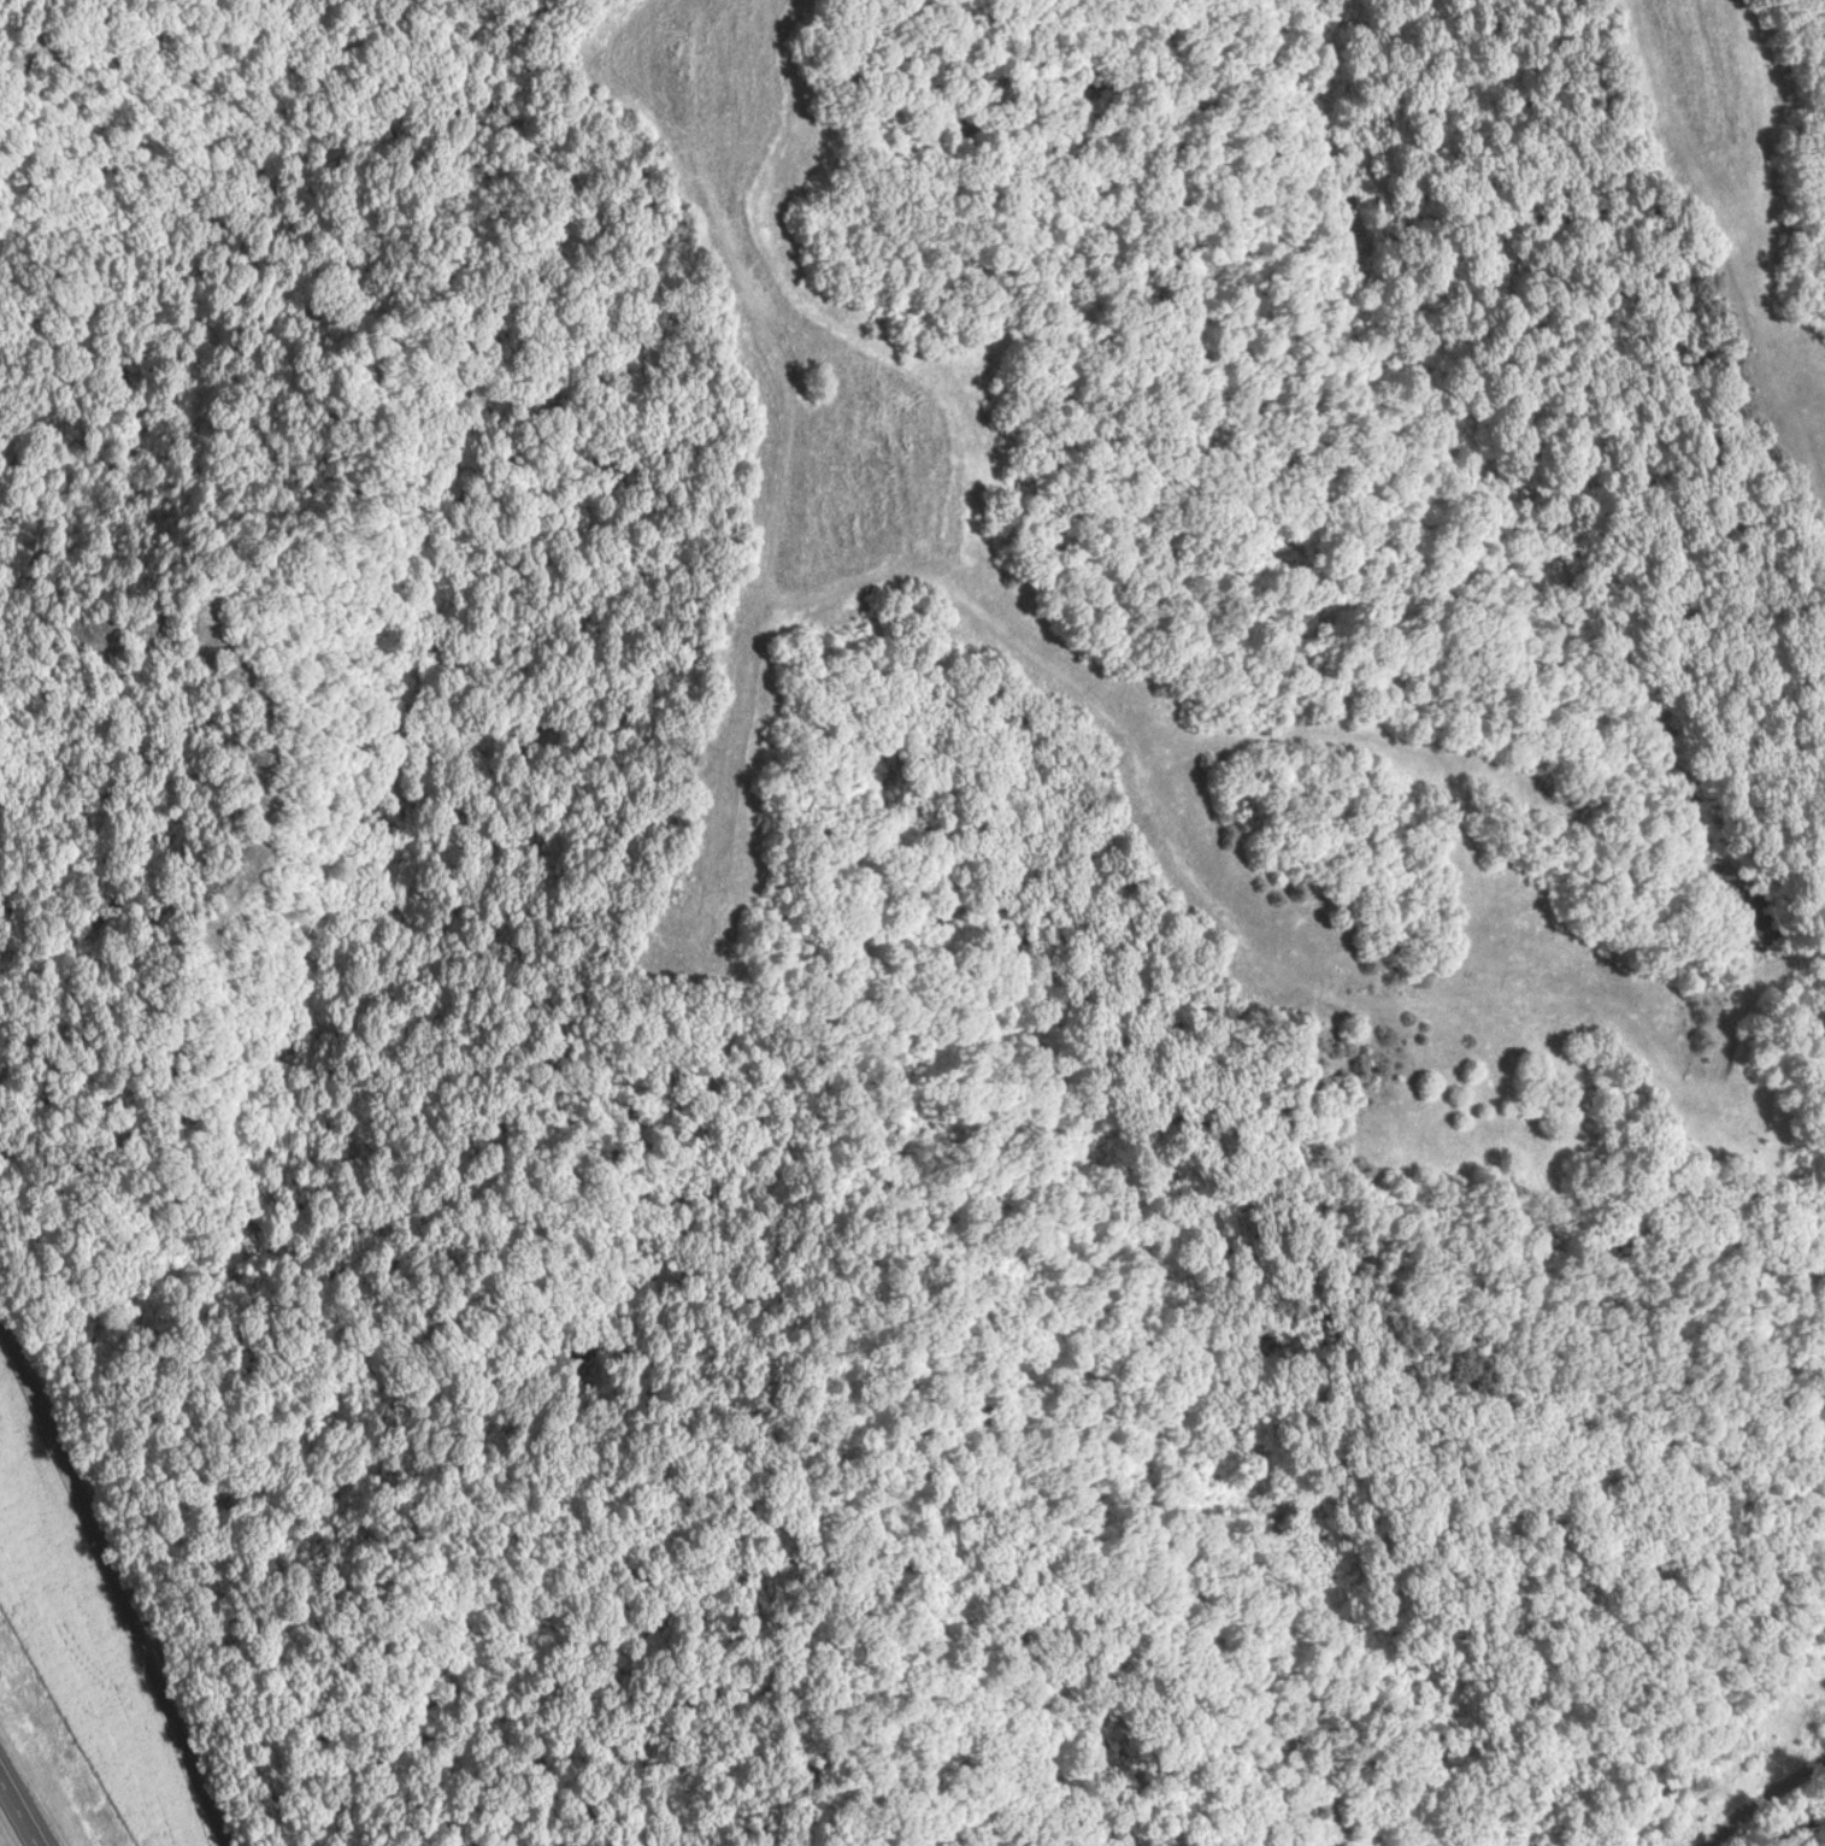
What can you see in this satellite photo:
road: (119, 1576)
building: (1794, 1705)
road: (1761, 1800)
road: (24, 1803)

